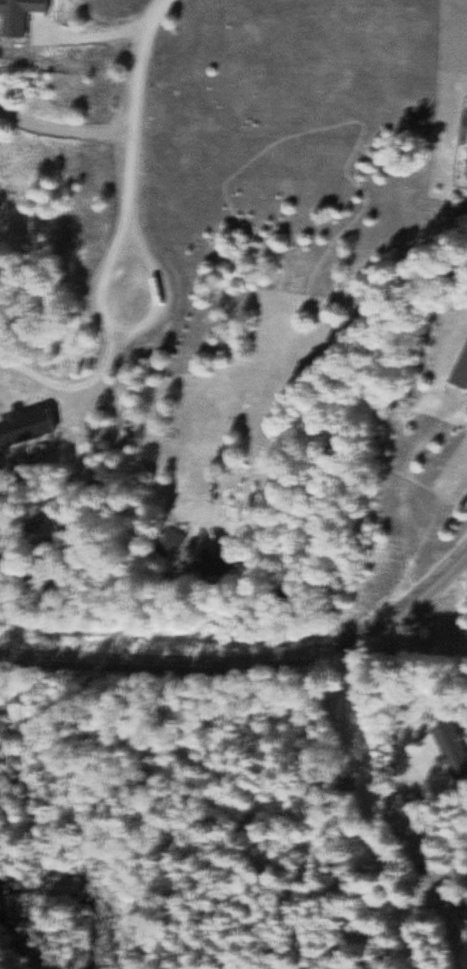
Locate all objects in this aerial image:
road: (134, 121)
road: (131, 328)
building: (175, 542)
building: (221, 568)
road: (251, 661)
road: (249, 754)
road: (366, 808)

